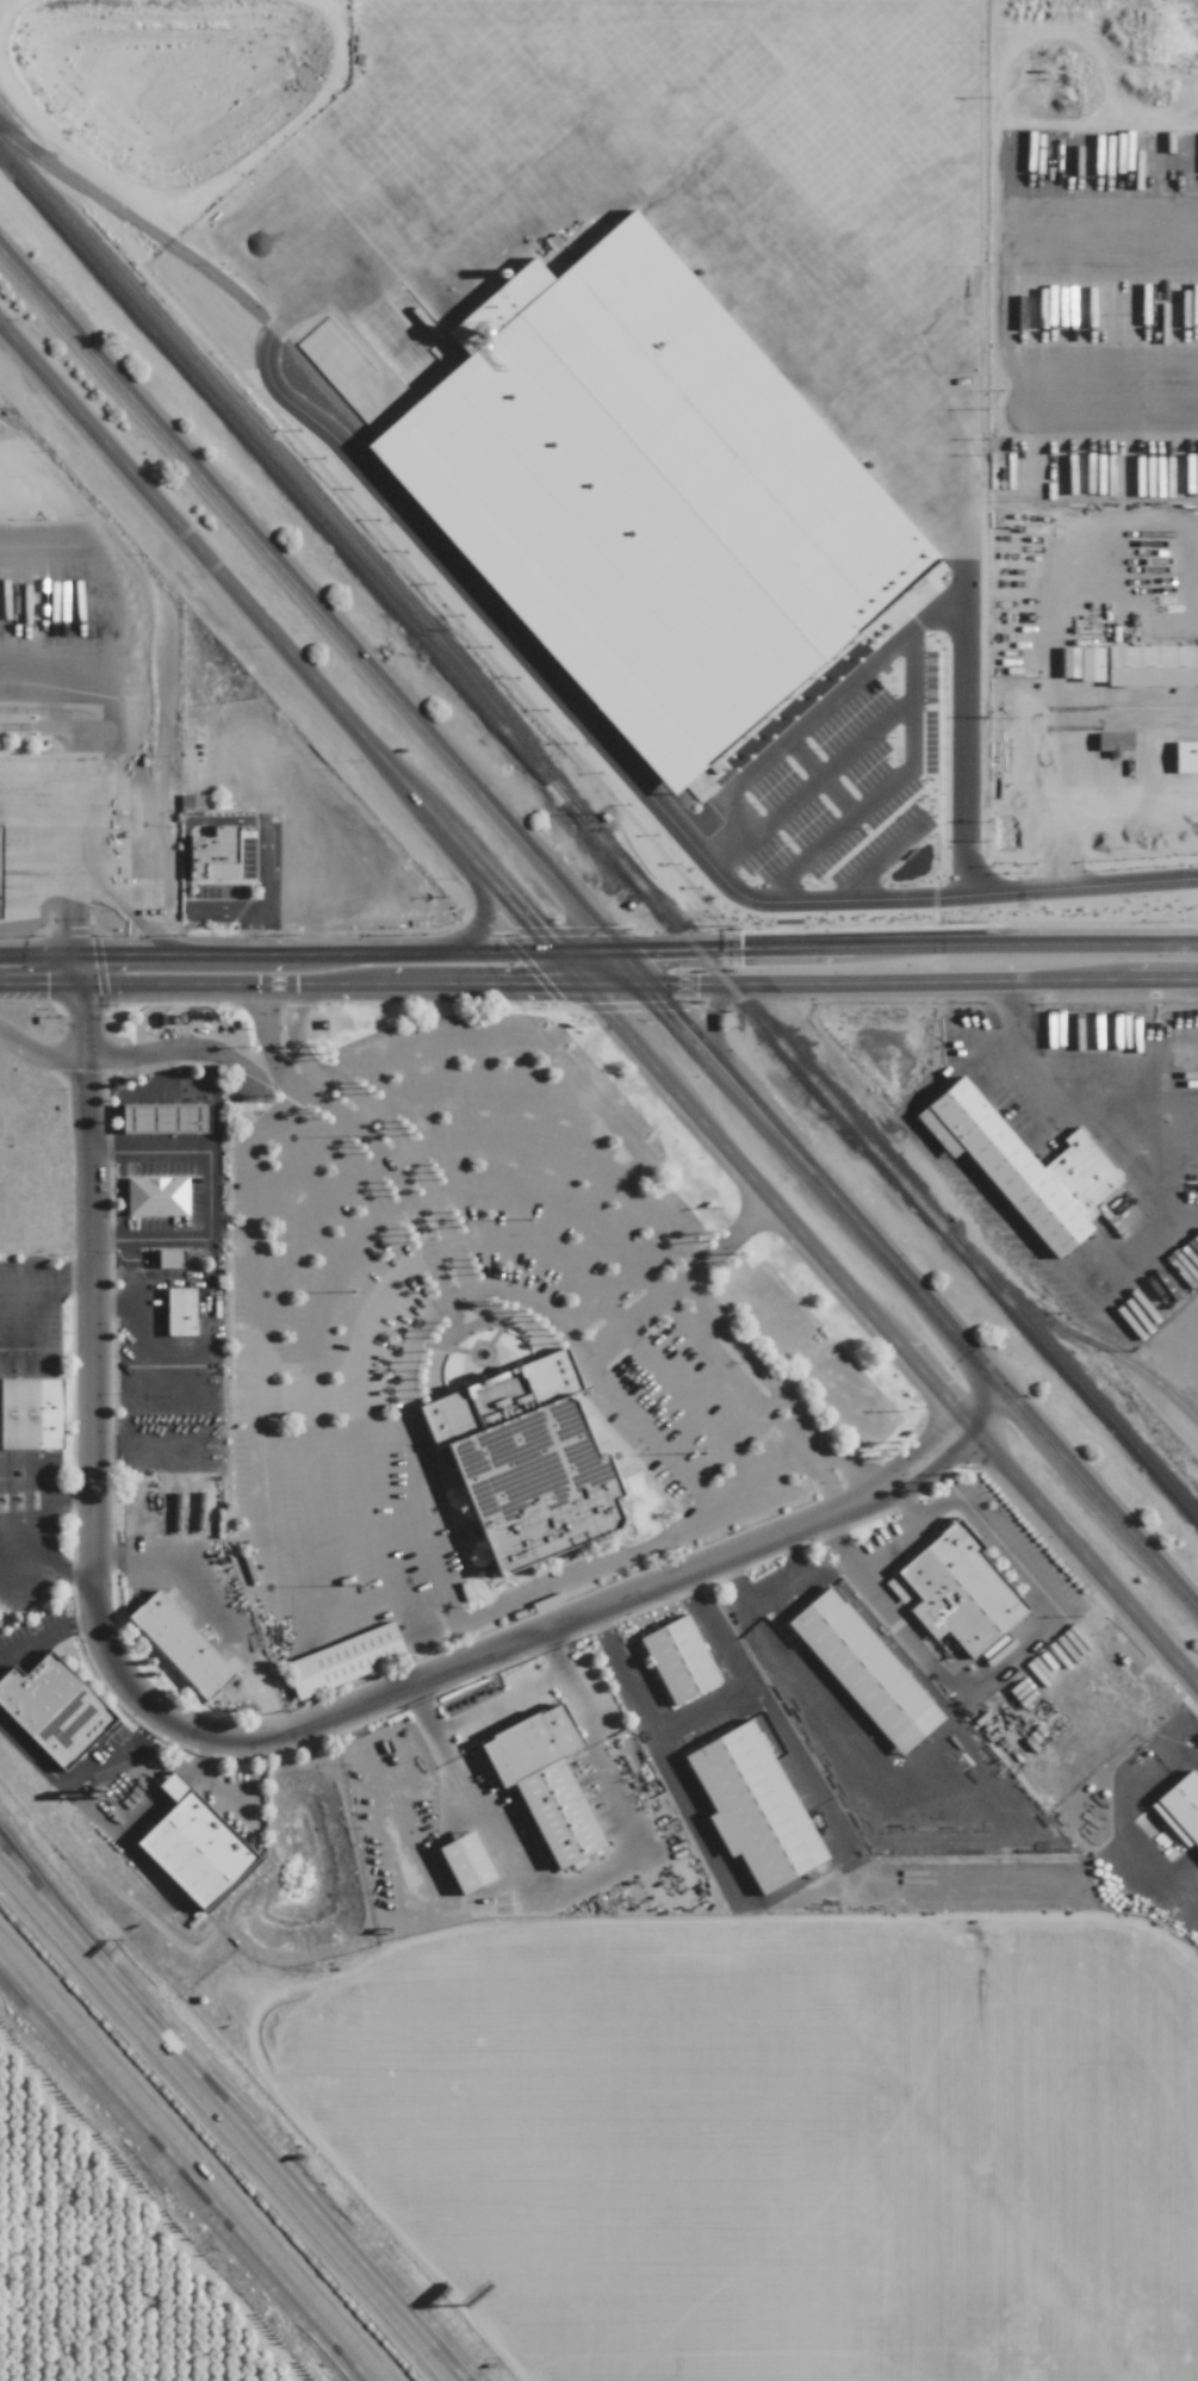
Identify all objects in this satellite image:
railway: (275, 452)
building: (646, 498)
road: (58, 661)
building: (1080, 663)
building: (1152, 665)
road: (911, 676)
road: (116, 707)
road: (817, 717)
road: (908, 733)
building: (1112, 743)
road: (1067, 755)
building: (1163, 759)
building: (1185, 759)
road: (46, 826)
road: (1069, 836)
railway: (600, 839)
building: (0, 854)
building: (213, 854)
road: (1080, 891)
road: (266, 894)
road: (72, 904)
road: (482, 913)
road: (598, 930)
road: (907, 945)
traffic signals: (617, 951)
traffic signals: (552, 953)
road: (309, 954)
traffic signals: (75, 955)
road: (920, 982)
traffic signals: (79, 984)
road: (322, 984)
traffic signals: (581, 985)
traffic signals: (645, 985)
road: (79, 987)
road: (597, 1004)
road: (293, 1034)
road: (712, 1037)
road: (262, 1046)
road: (178, 1052)
road: (39, 1059)
road: (594, 1096)
road: (402, 1097)
road: (1061, 1098)
building: (165, 1117)
road: (402, 1152)
building: (1022, 1166)
building: (156, 1196)
road: (210, 1196)
road: (448, 1240)
road: (344, 1253)
building: (169, 1257)
road: (46, 1289)
building: (179, 1310)
road: (468, 1331)
railway: (1079, 1337)
road: (566, 1340)
road: (728, 1362)
building: (30, 1413)
road: (935, 1428)
road: (644, 1434)
road: (954, 1447)
road: (410, 1452)
building: (524, 1461)
road: (38, 1530)
road: (882, 1549)
building: (958, 1591)
road: (769, 1595)
road: (211, 1616)
road: (329, 1617)
road: (715, 1630)
road: (45, 1635)
building: (181, 1645)
building: (343, 1660)
building: (678, 1660)
building: (863, 1670)
road: (622, 1674)
road: (494, 1705)
building: (52, 1709)
road: (702, 1711)
road: (209, 1737)
road: (1188, 1738)
road: (77, 1775)
road: (187, 1778)
building: (544, 1781)
road: (198, 1785)
road: (1123, 1787)
road: (174, 1788)
building: (752, 1806)
building: (1180, 1808)
road: (113, 1831)
building: (193, 1844)
building: (465, 1862)
road: (7, 1866)
road: (1159, 1877)
road: (958, 1884)
road: (806, 1890)
road: (235, 2120)
road: (191, 2168)

